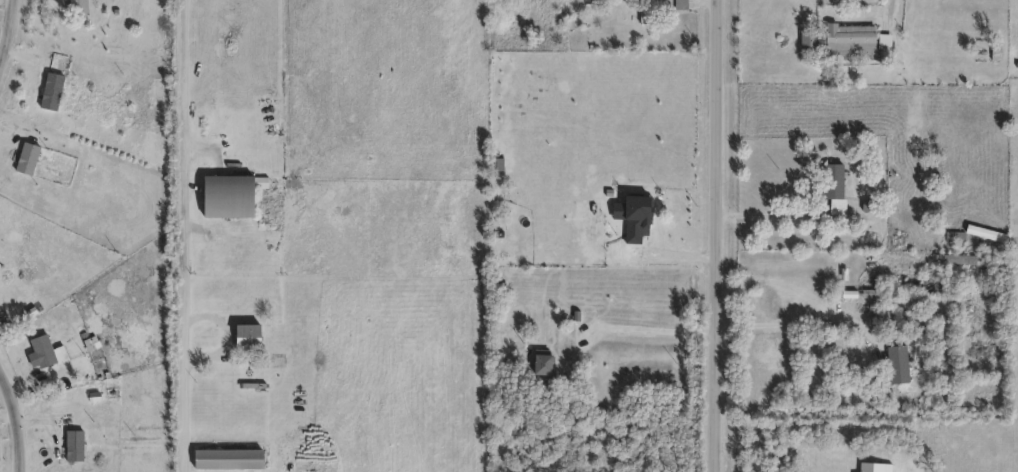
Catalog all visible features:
building: (682, 4)
building: (80, 8)
road: (896, 8)
building: (646, 13)
road: (8, 36)
building: (857, 40)
building: (998, 50)
building: (54, 93)
building: (29, 160)
building: (500, 162)
building: (497, 166)
building: (840, 182)
building: (234, 198)
road: (770, 210)
building: (647, 219)
road: (187, 236)
road: (723, 236)
road: (686, 249)
building: (887, 314)
road: (782, 319)
road: (652, 332)
building: (253, 338)
building: (46, 353)
building: (892, 357)
building: (547, 364)
road: (46, 378)
road: (47, 418)
road: (15, 421)
building: (76, 447)
building: (232, 461)

